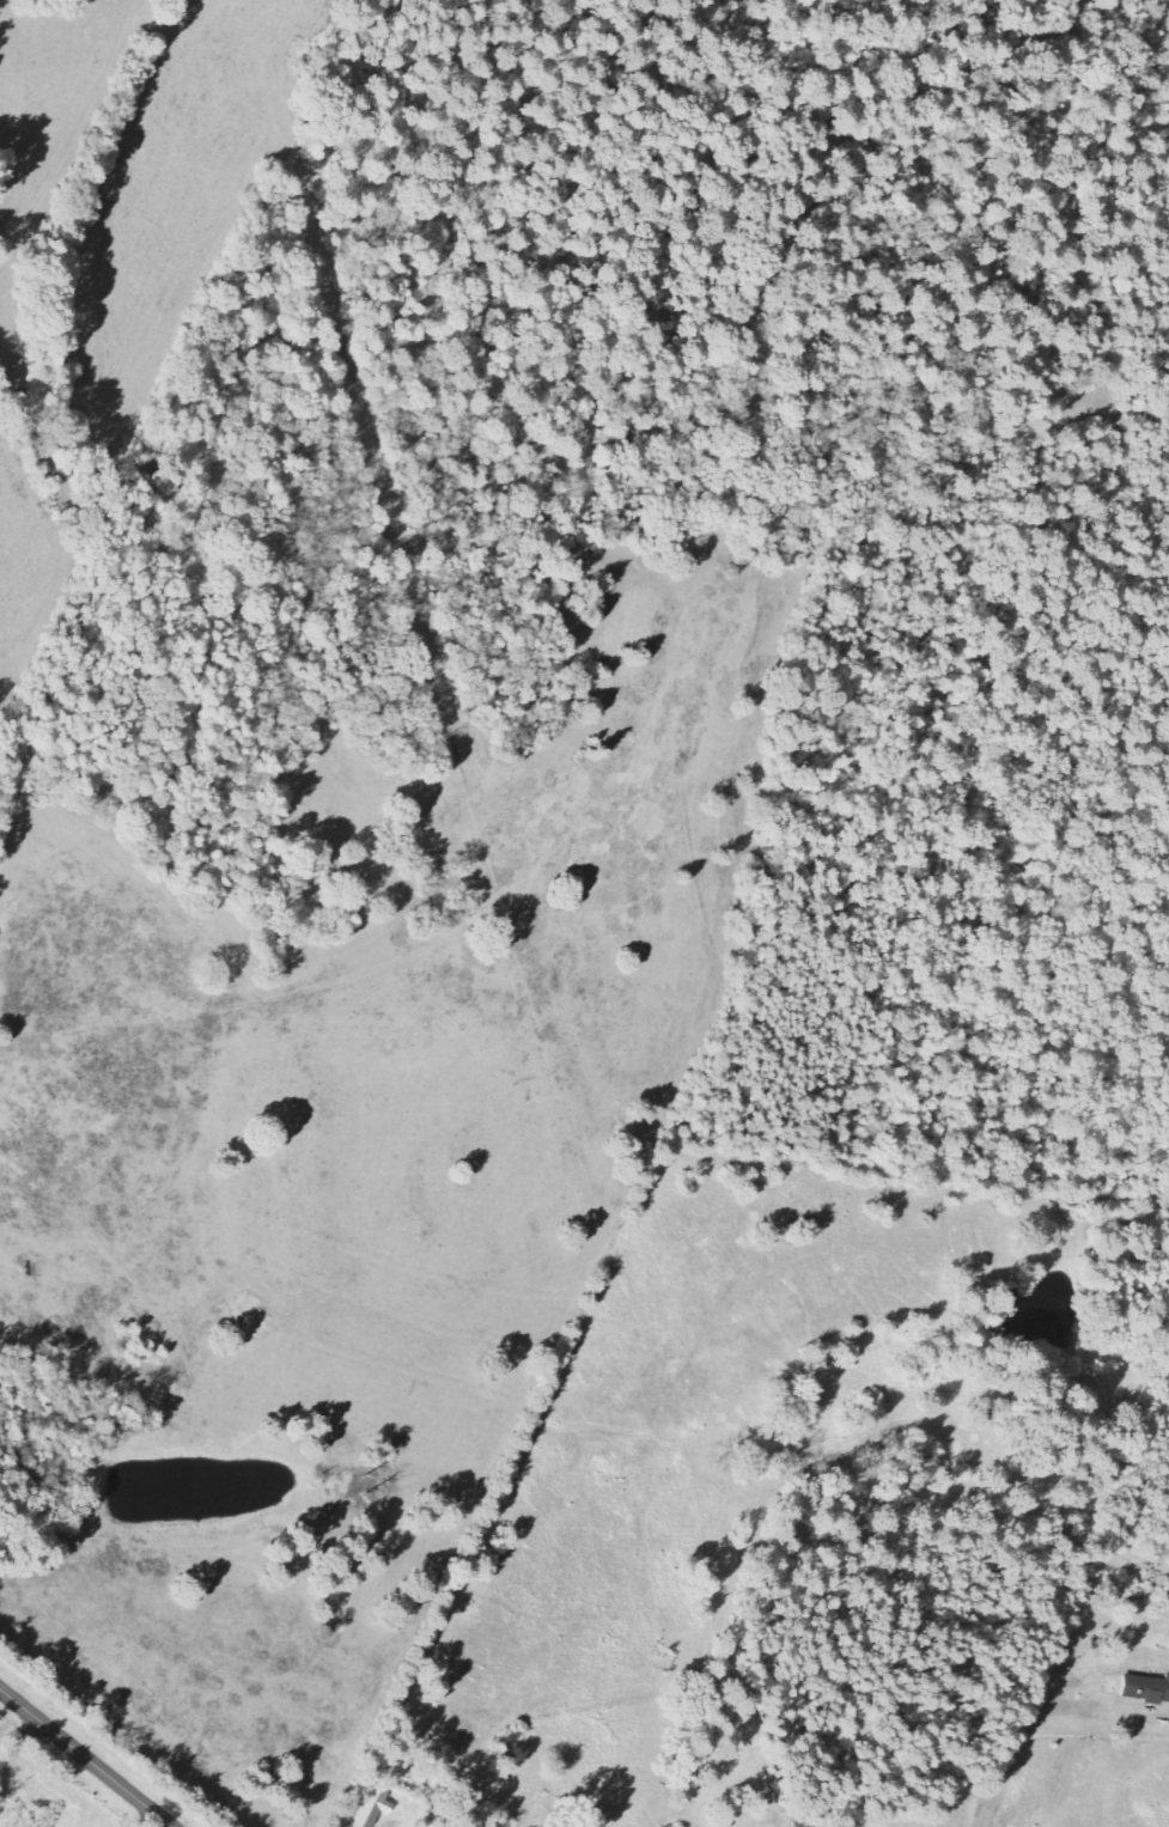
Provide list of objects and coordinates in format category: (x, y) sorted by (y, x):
building: (1147, 1688)
road: (967, 1716)
road: (85, 1758)
building: (378, 1808)

